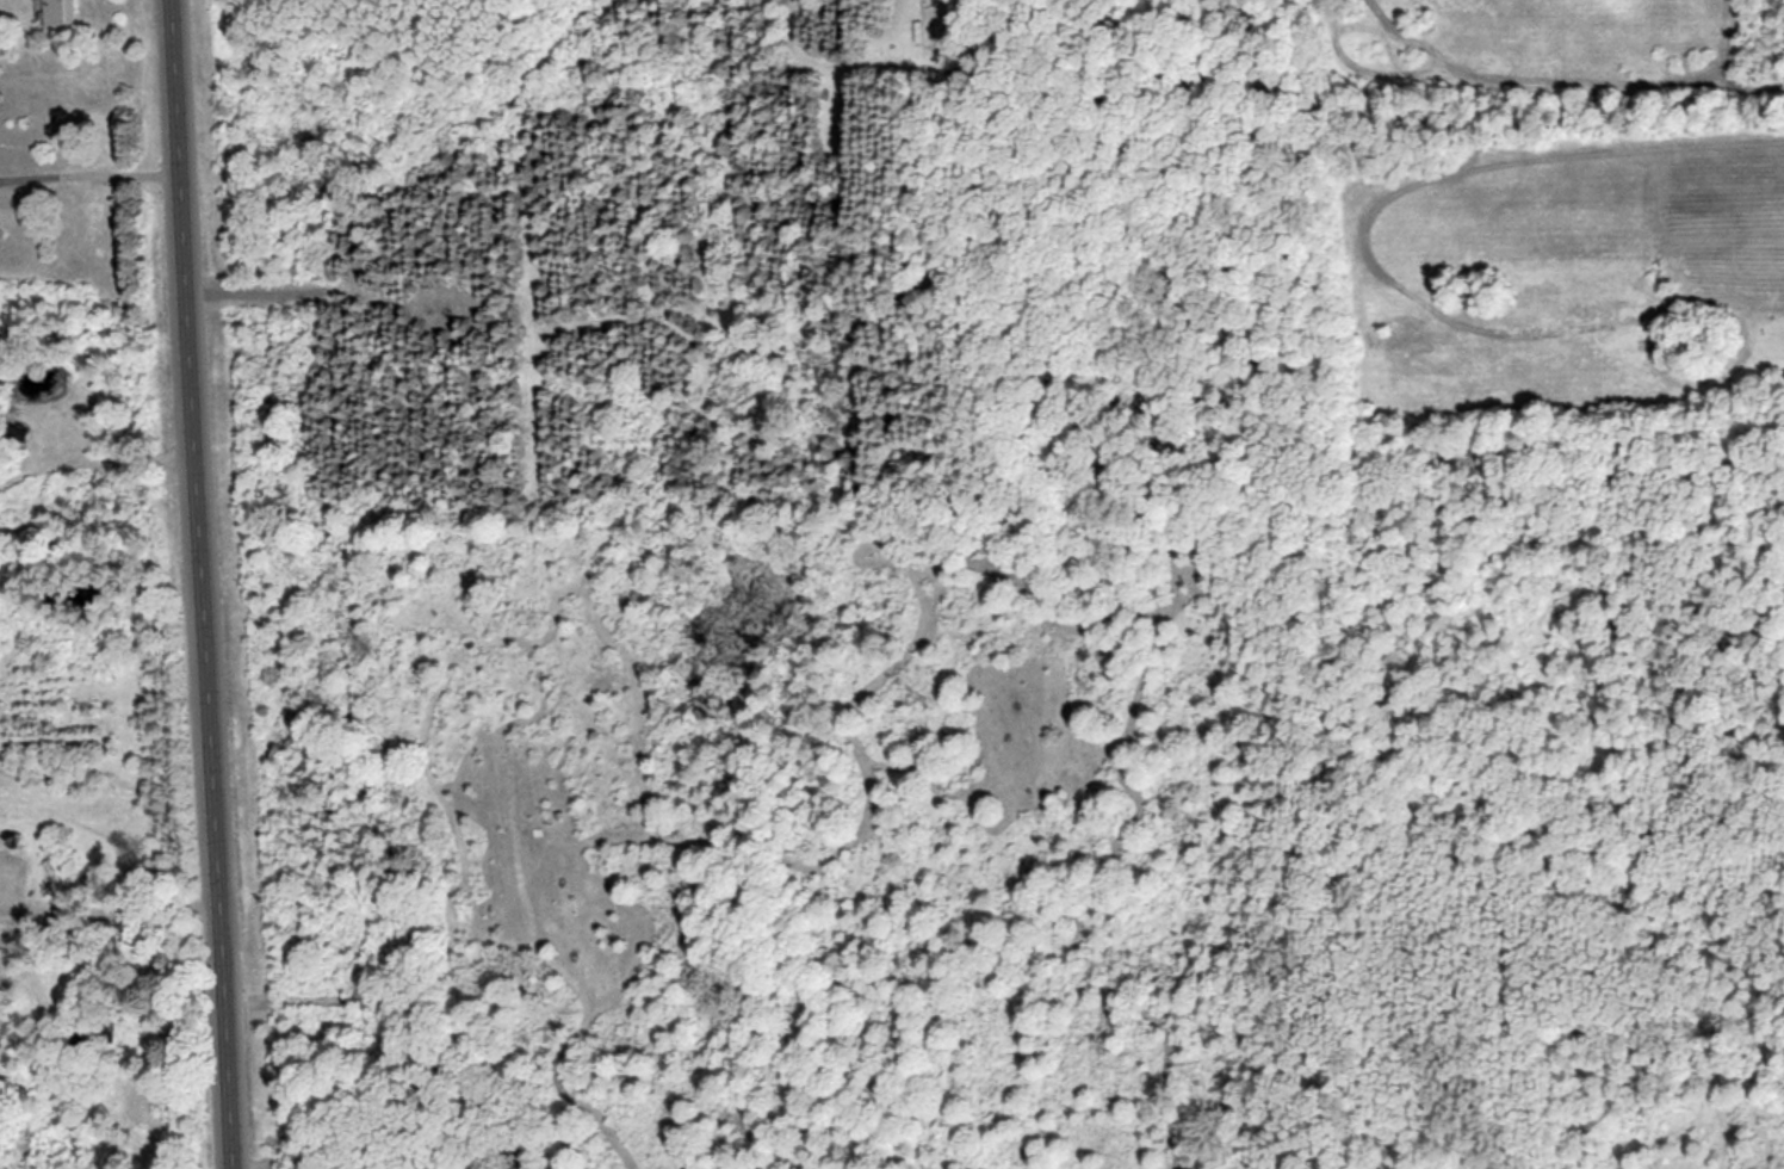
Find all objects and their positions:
building: (63, 14)
building: (931, 27)
building: (1, 229)
road: (204, 584)
building: (105, 1038)

